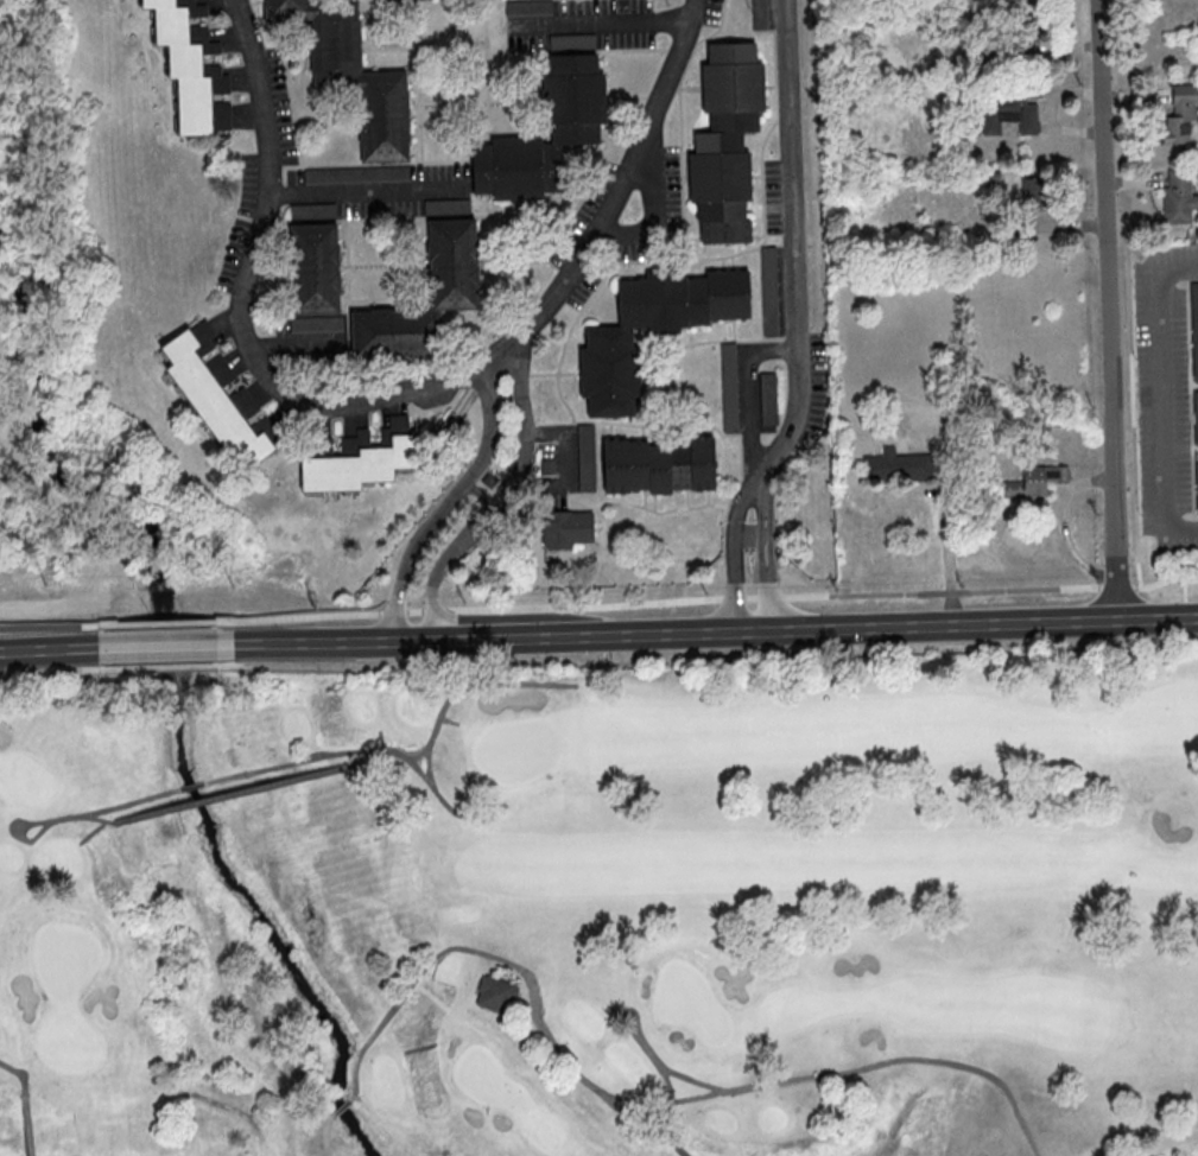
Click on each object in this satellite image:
road: (598, 21)
building: (191, 65)
building: (351, 72)
building: (576, 104)
building: (1009, 114)
building: (1183, 116)
building: (727, 140)
road: (366, 188)
road: (623, 190)
building: (1179, 198)
building: (454, 262)
road: (794, 265)
building: (315, 268)
road: (1108, 310)
road: (246, 312)
building: (1194, 329)
building: (613, 339)
building: (218, 398)
road: (1165, 398)
building: (1196, 415)
building: (360, 458)
building: (659, 465)
building: (893, 466)
building: (1037, 479)
building: (1197, 487)
road: (477, 500)
building: (568, 529)
road: (945, 557)
road: (755, 576)
road: (716, 597)
road: (165, 622)
road: (49, 624)
road: (741, 630)
road: (256, 644)
road: (170, 647)
road: (57, 652)
river: (176, 694)
park: (603, 912)
building: (496, 993)

